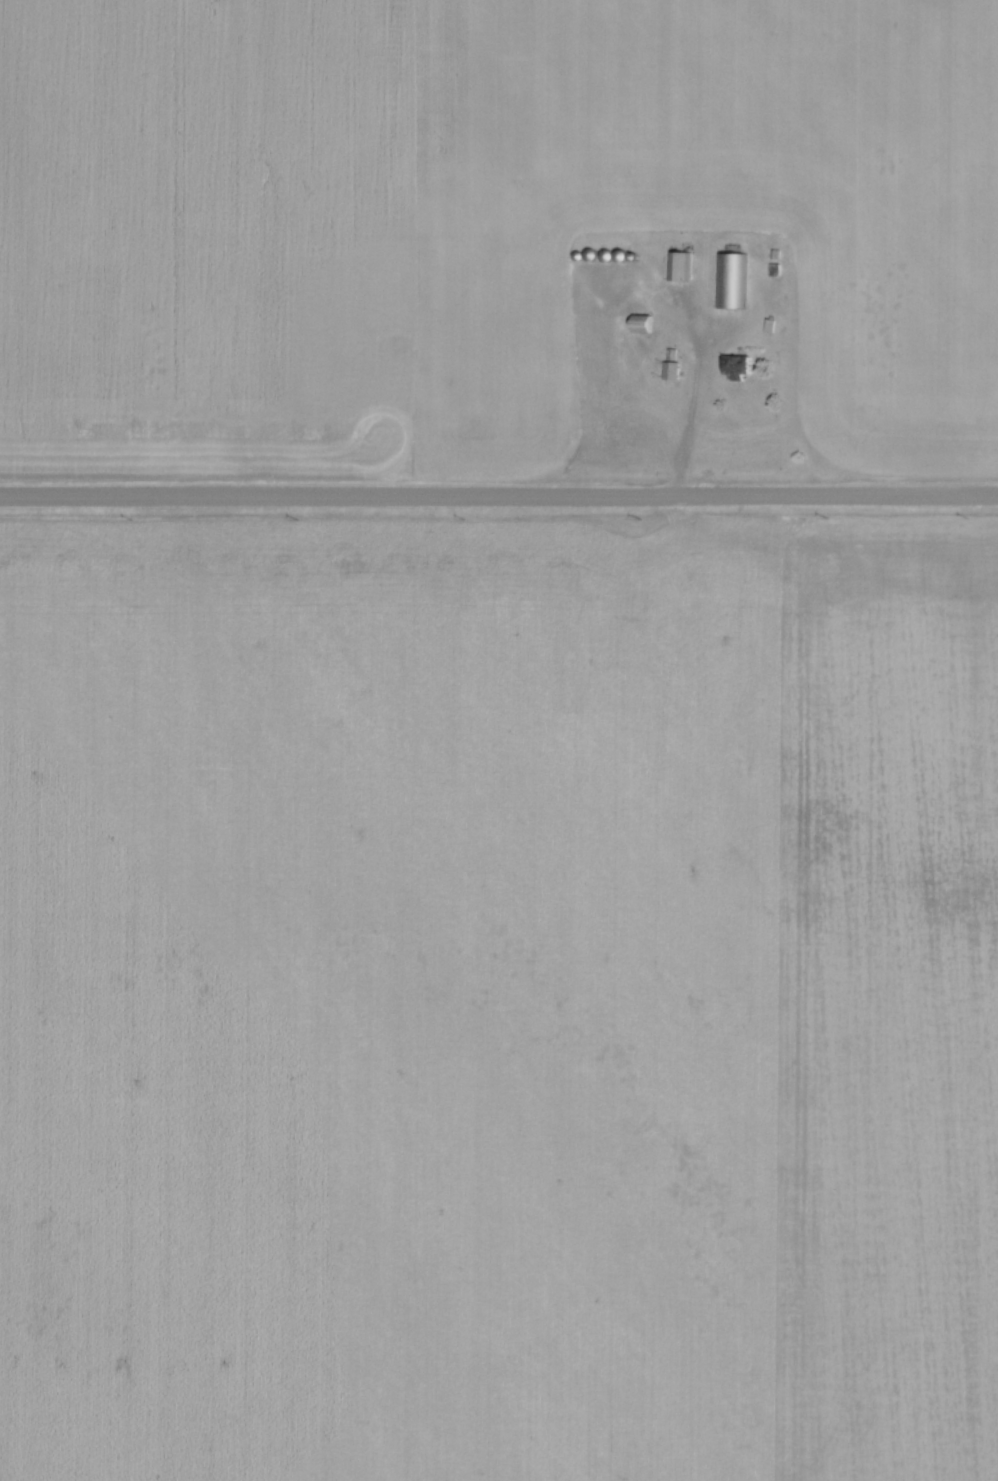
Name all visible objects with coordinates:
crop: (474, 220)
building: (774, 250)
silo: (591, 252)
silo: (578, 253)
silo: (608, 253)
silo: (623, 254)
silo: (636, 254)
building: (679, 264)
building: (774, 267)
building: (729, 279)
building: (641, 322)
building: (770, 323)
building: (738, 365)
building: (672, 369)
road: (690, 404)
road: (498, 494)
crop: (498, 998)

